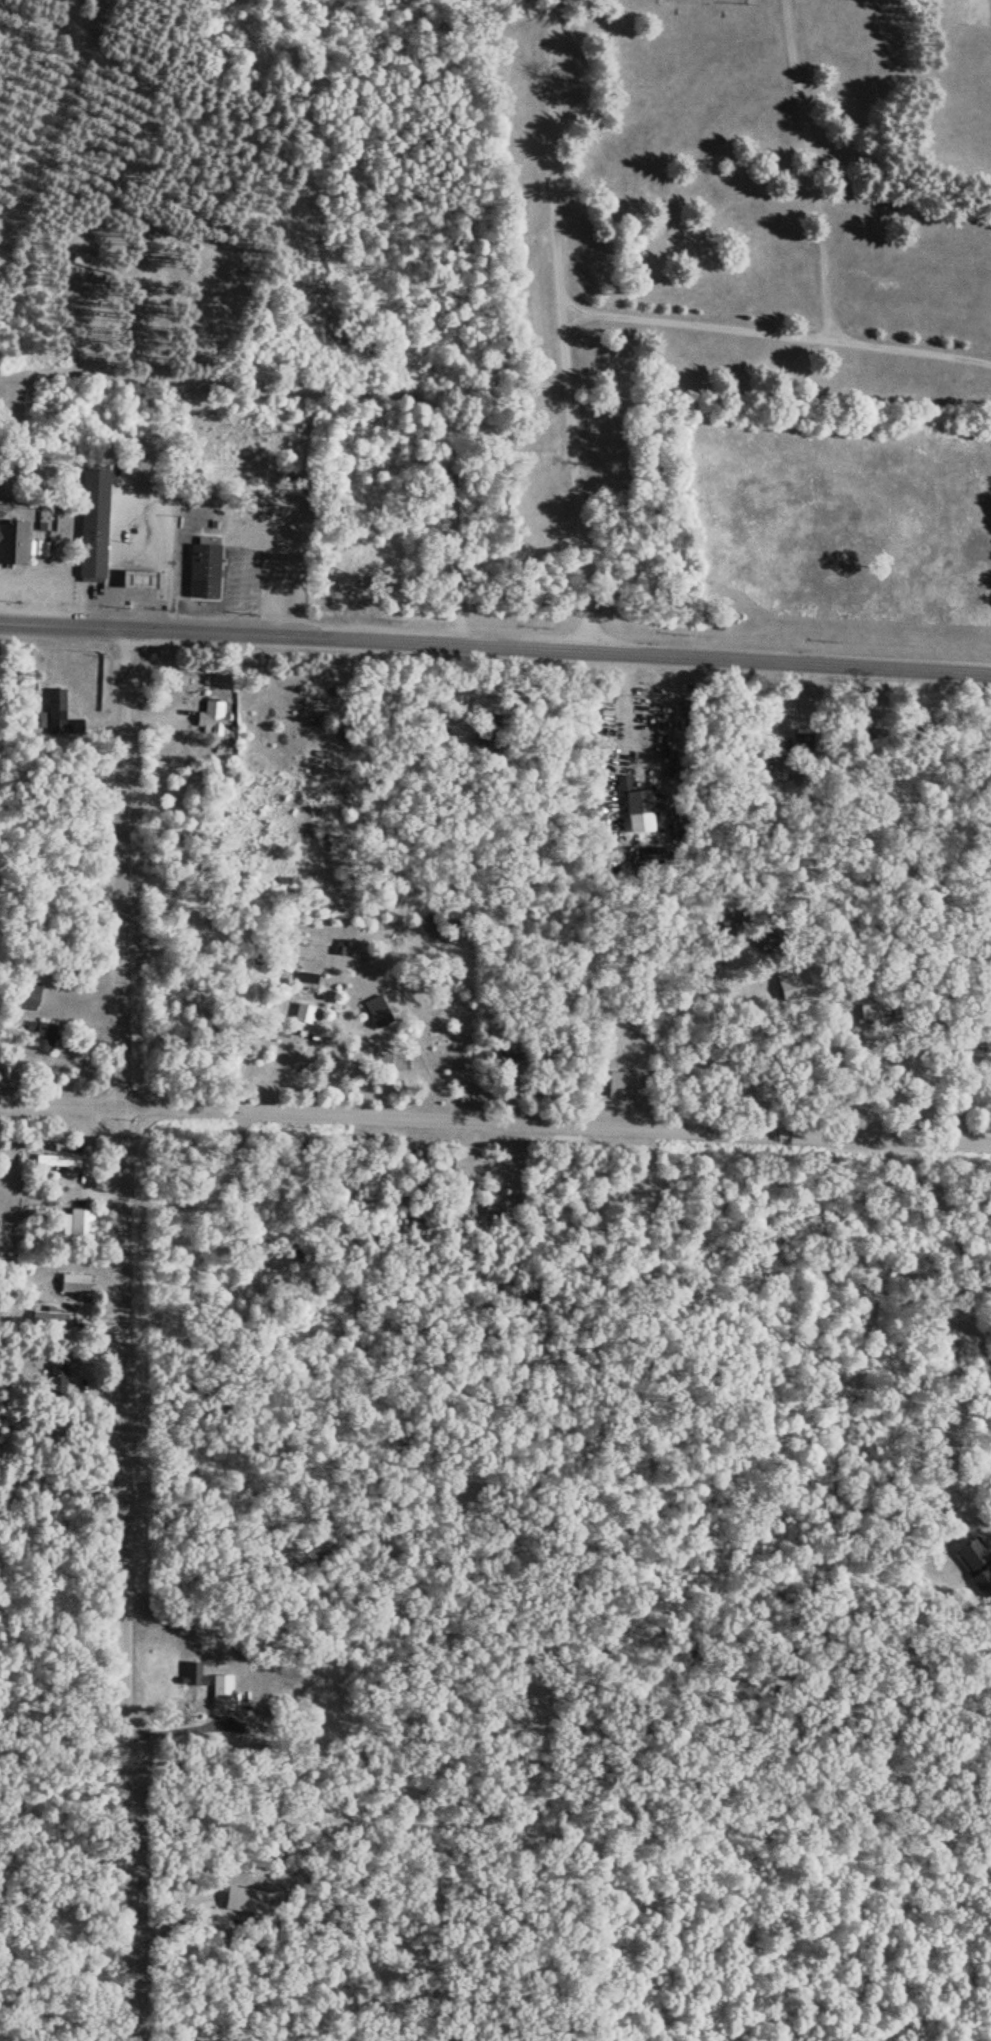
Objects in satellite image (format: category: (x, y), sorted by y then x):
park: (618, 221)
road: (821, 249)
building: (97, 260)
road: (84, 322)
road: (562, 325)
road: (696, 325)
road: (338, 390)
building: (92, 520)
building: (13, 539)
building: (203, 565)
building: (137, 574)
gas station: (137, 574)
building: (346, 575)
road: (495, 643)
building: (210, 714)
building: (59, 720)
building: (488, 727)
building: (876, 732)
building: (780, 767)
building: (638, 809)
building: (30, 993)
building: (873, 1007)
building: (377, 1009)
building: (305, 1018)
building: (41, 1033)
building: (510, 1054)
building: (975, 1056)
building: (622, 1081)
road: (495, 1118)
building: (57, 1158)
building: (77, 1221)
building: (75, 1281)
building: (49, 1318)
road: (128, 1332)
building: (58, 1379)
building: (977, 1559)
building: (198, 1671)
building: (224, 1691)

